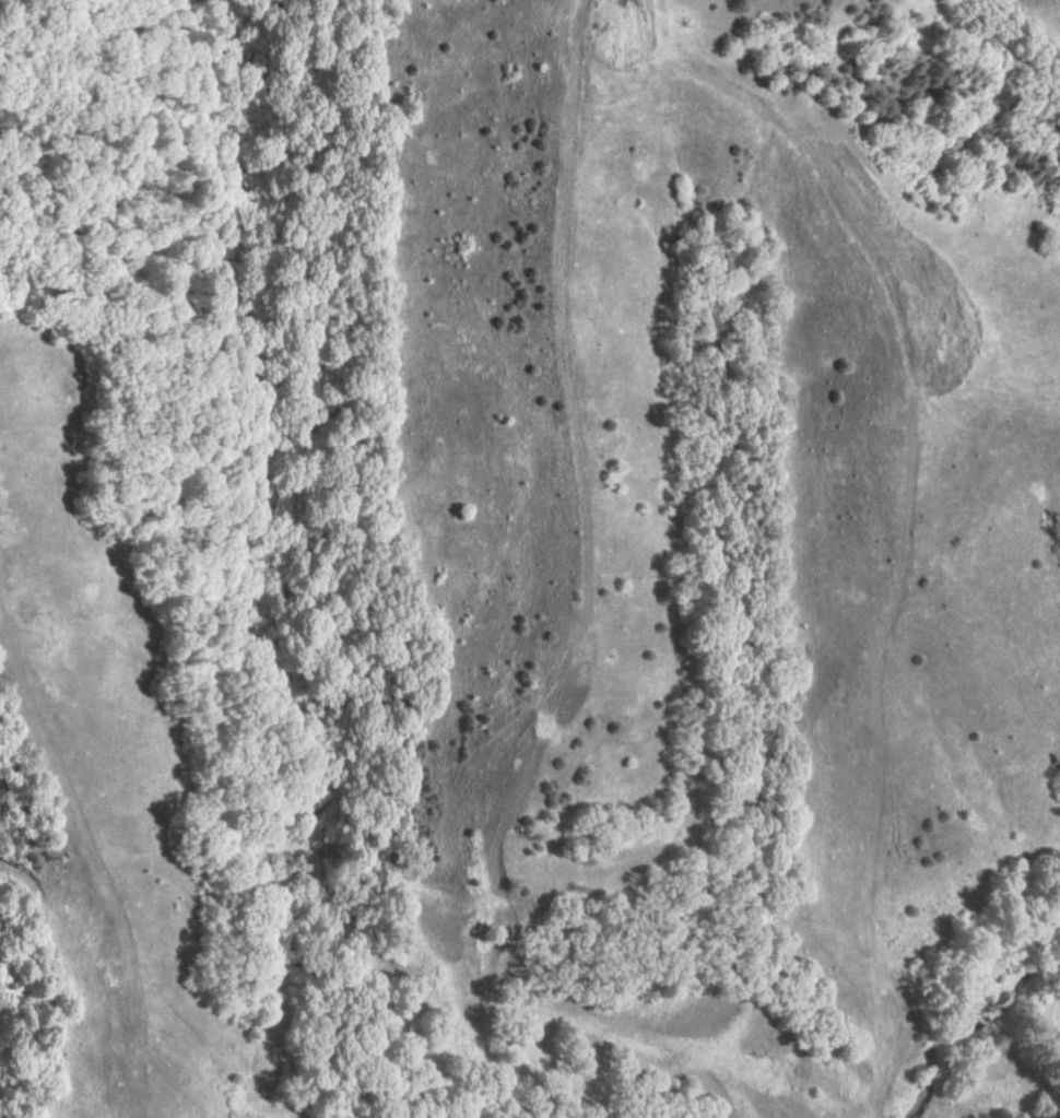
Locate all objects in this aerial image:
building: (1014, 1058)
building: (986, 1103)
road: (1057, 1116)

